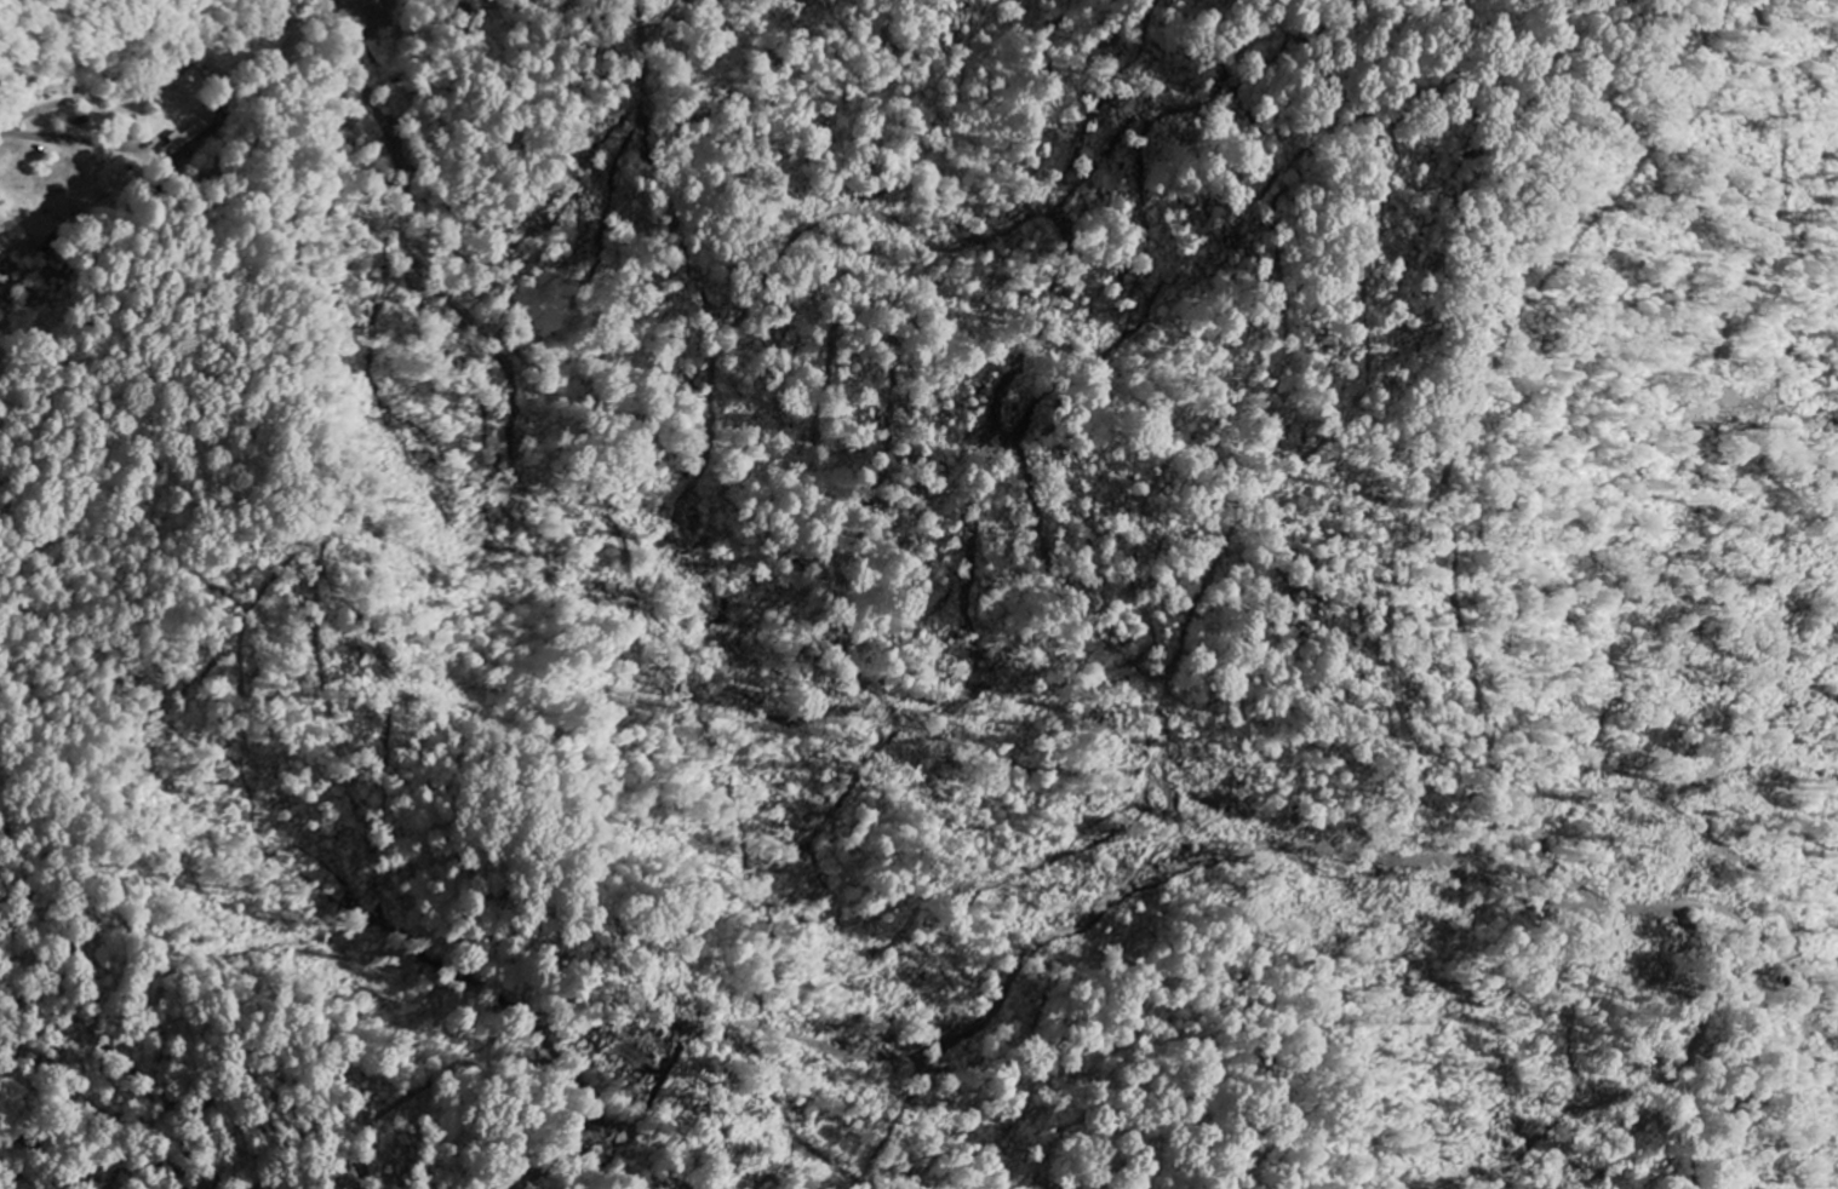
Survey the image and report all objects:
road: (159, 80)
building: (184, 136)
road: (67, 137)
building: (2, 274)

